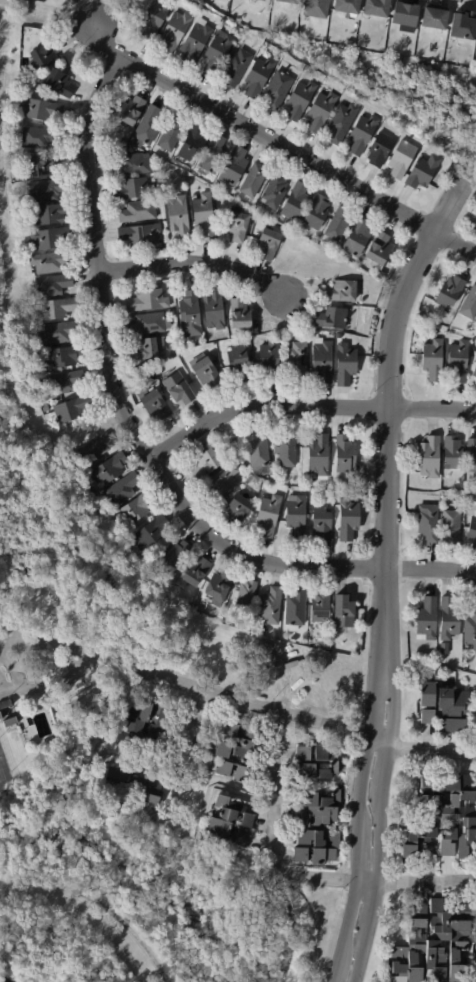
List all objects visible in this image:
building: (61, 1)
building: (258, 1)
building: (287, 2)
building: (345, 7)
building: (375, 8)
building: (315, 9)
building: (404, 16)
building: (154, 17)
building: (433, 19)
building: (464, 27)
building: (174, 30)
building: (196, 41)
building: (217, 52)
building: (43, 54)
building: (236, 67)
building: (257, 76)
building: (56, 82)
building: (276, 89)
building: (299, 99)
building: (40, 108)
building: (129, 111)
building: (320, 111)
building: (341, 122)
building: (146, 127)
building: (109, 129)
building: (170, 134)
building: (362, 134)
building: (38, 136)
building: (191, 142)
road: (280, 145)
building: (379, 150)
building: (212, 154)
building: (11, 156)
building: (401, 159)
building: (41, 165)
building: (131, 165)
building: (232, 166)
building: (423, 172)
building: (252, 180)
building: (131, 188)
building: (44, 190)
building: (274, 191)
building: (295, 202)
building: (137, 211)
building: (317, 212)
building: (48, 213)
building: (203, 213)
building: (177, 216)
building: (338, 223)
building: (237, 226)
building: (139, 234)
building: (50, 237)
building: (356, 237)
building: (269, 244)
building: (379, 249)
building: (48, 262)
road: (196, 268)
building: (51, 285)
building: (341, 291)
building: (449, 292)
building: (146, 300)
building: (469, 304)
building: (54, 308)
building: (213, 309)
building: (189, 313)
building: (239, 314)
building: (330, 318)
building: (148, 325)
building: (57, 332)
building: (338, 336)
building: (221, 343)
building: (146, 349)
building: (60, 356)
building: (269, 360)
building: (296, 360)
building: (433, 360)
building: (321, 361)
building: (458, 361)
building: (237, 362)
building: (214, 363)
building: (345, 365)
building: (474, 370)
building: (158, 372)
building: (205, 372)
building: (63, 382)
building: (475, 385)
building: (177, 388)
building: (153, 404)
building: (44, 408)
building: (71, 409)
road: (308, 409)
road: (387, 417)
road: (142, 434)
building: (220, 438)
building: (232, 441)
building: (93, 449)
building: (286, 450)
building: (257, 452)
building: (452, 452)
building: (344, 455)
building: (318, 456)
building: (471, 456)
building: (429, 458)
building: (203, 464)
building: (108, 469)
building: (361, 476)
building: (81, 480)
building: (222, 481)
building: (120, 490)
building: (327, 493)
building: (469, 501)
building: (134, 510)
building: (236, 511)
building: (269, 516)
building: (296, 517)
building: (347, 519)
building: (428, 523)
building: (322, 525)
building: (452, 527)
building: (472, 532)
building: (147, 535)
building: (170, 558)
building: (193, 572)
building: (217, 587)
building: (244, 597)
building: (319, 604)
building: (271, 607)
building: (294, 607)
building: (193, 608)
building: (341, 609)
building: (427, 619)
building: (448, 619)
road: (9, 620)
building: (239, 626)
building: (470, 630)
road: (8, 638)
building: (292, 640)
road: (53, 642)
building: (328, 647)
road: (46, 653)
road: (285, 676)
road: (48, 687)
road: (238, 699)
building: (426, 702)
building: (453, 711)
building: (7, 715)
building: (141, 724)
road: (194, 725)
road: (432, 748)
building: (232, 754)
building: (316, 763)
park: (3, 776)
building: (152, 792)
building: (442, 821)
building: (228, 824)
road: (378, 826)
road: (359, 828)
building: (318, 831)
road: (271, 844)
road: (427, 881)
road: (97, 903)
road: (291, 925)
building: (435, 943)

